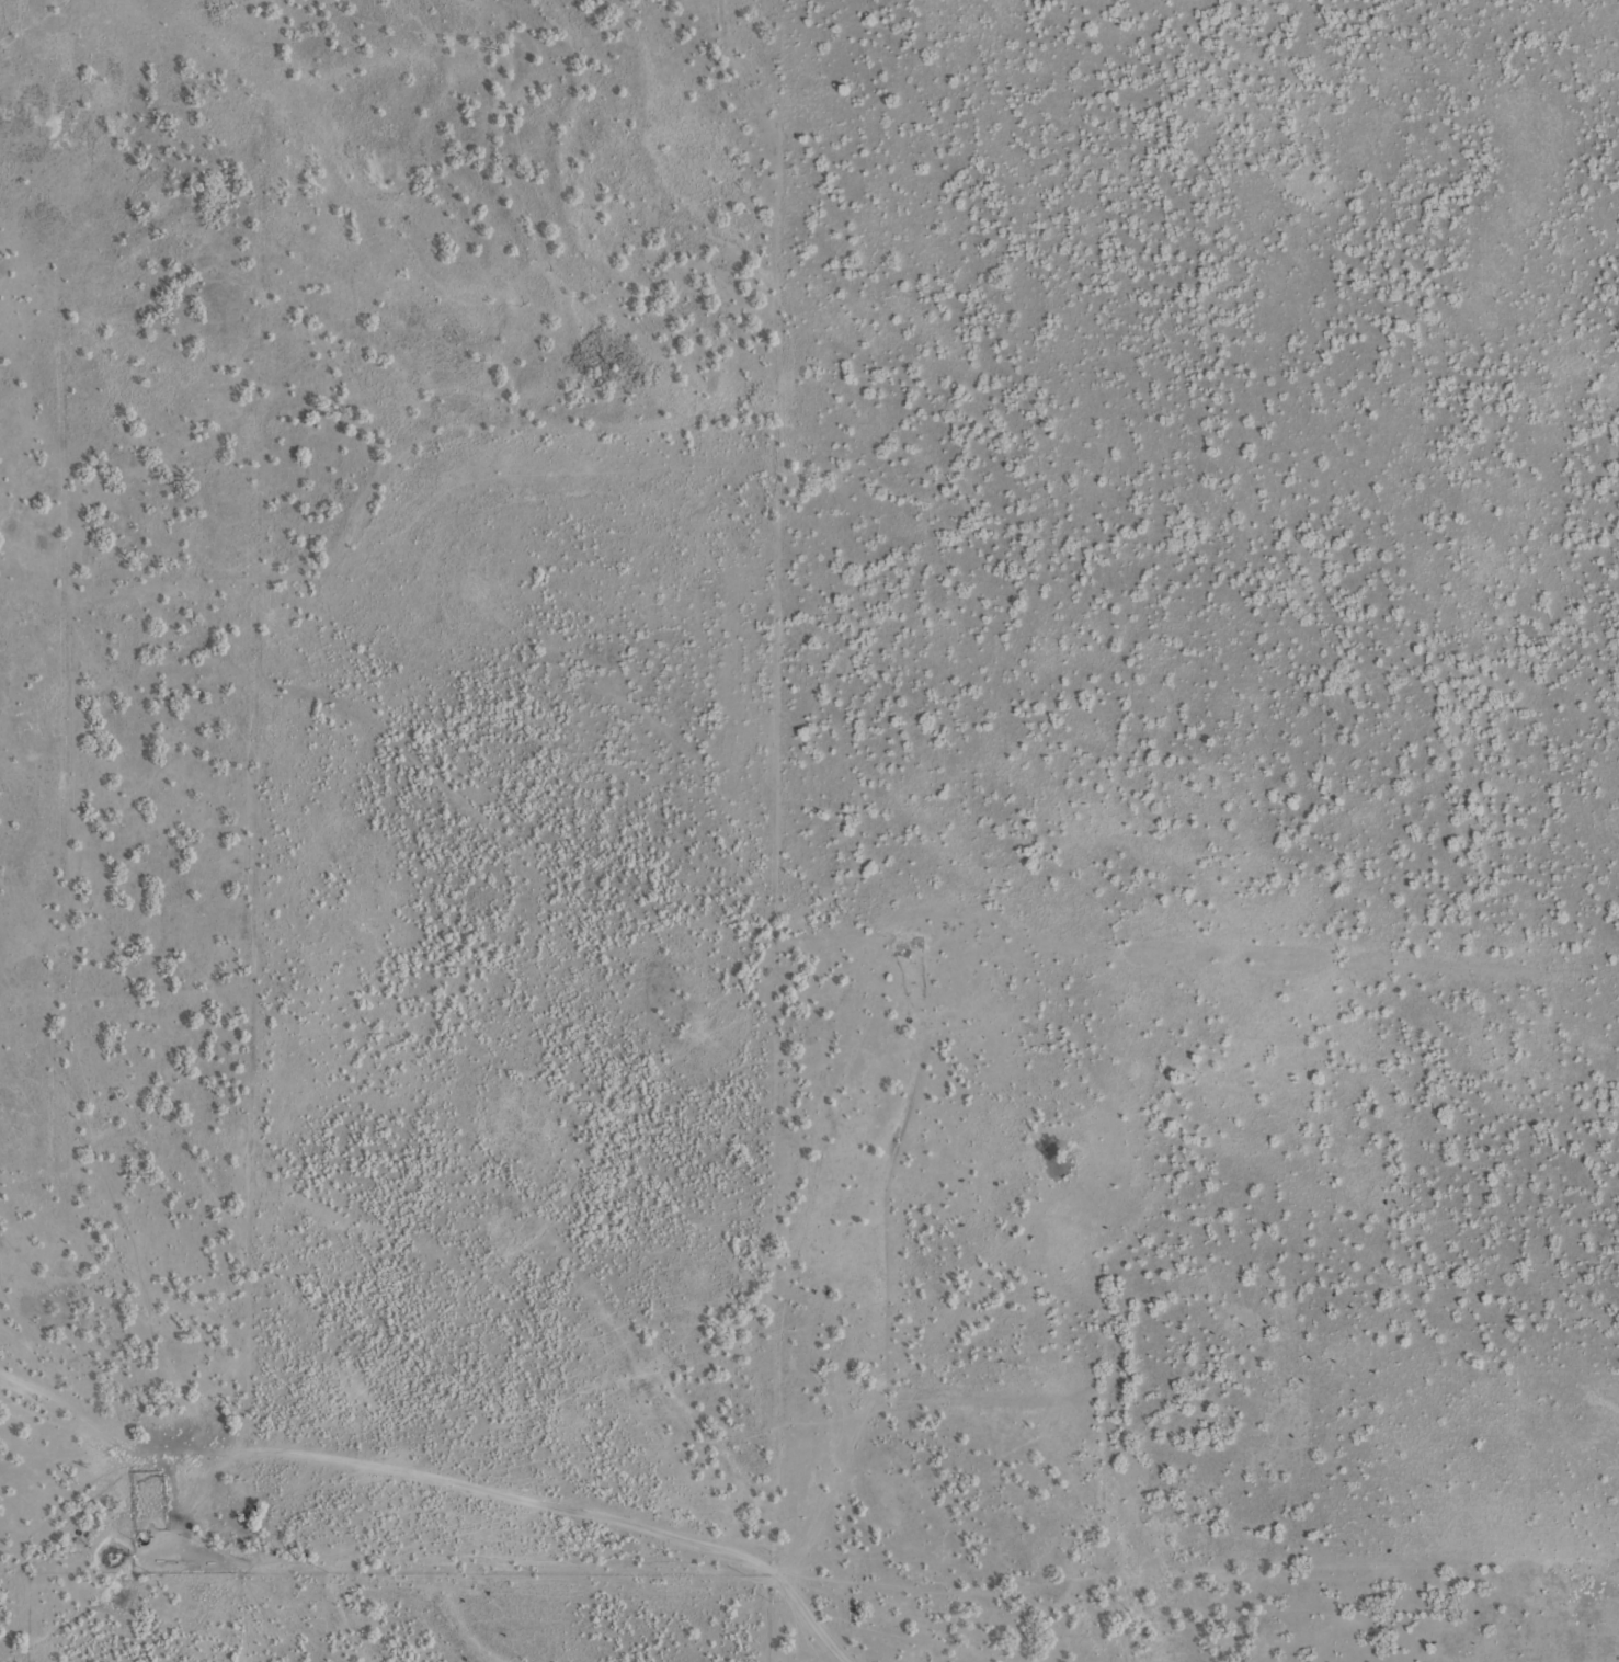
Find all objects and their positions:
road: (917, 840)

